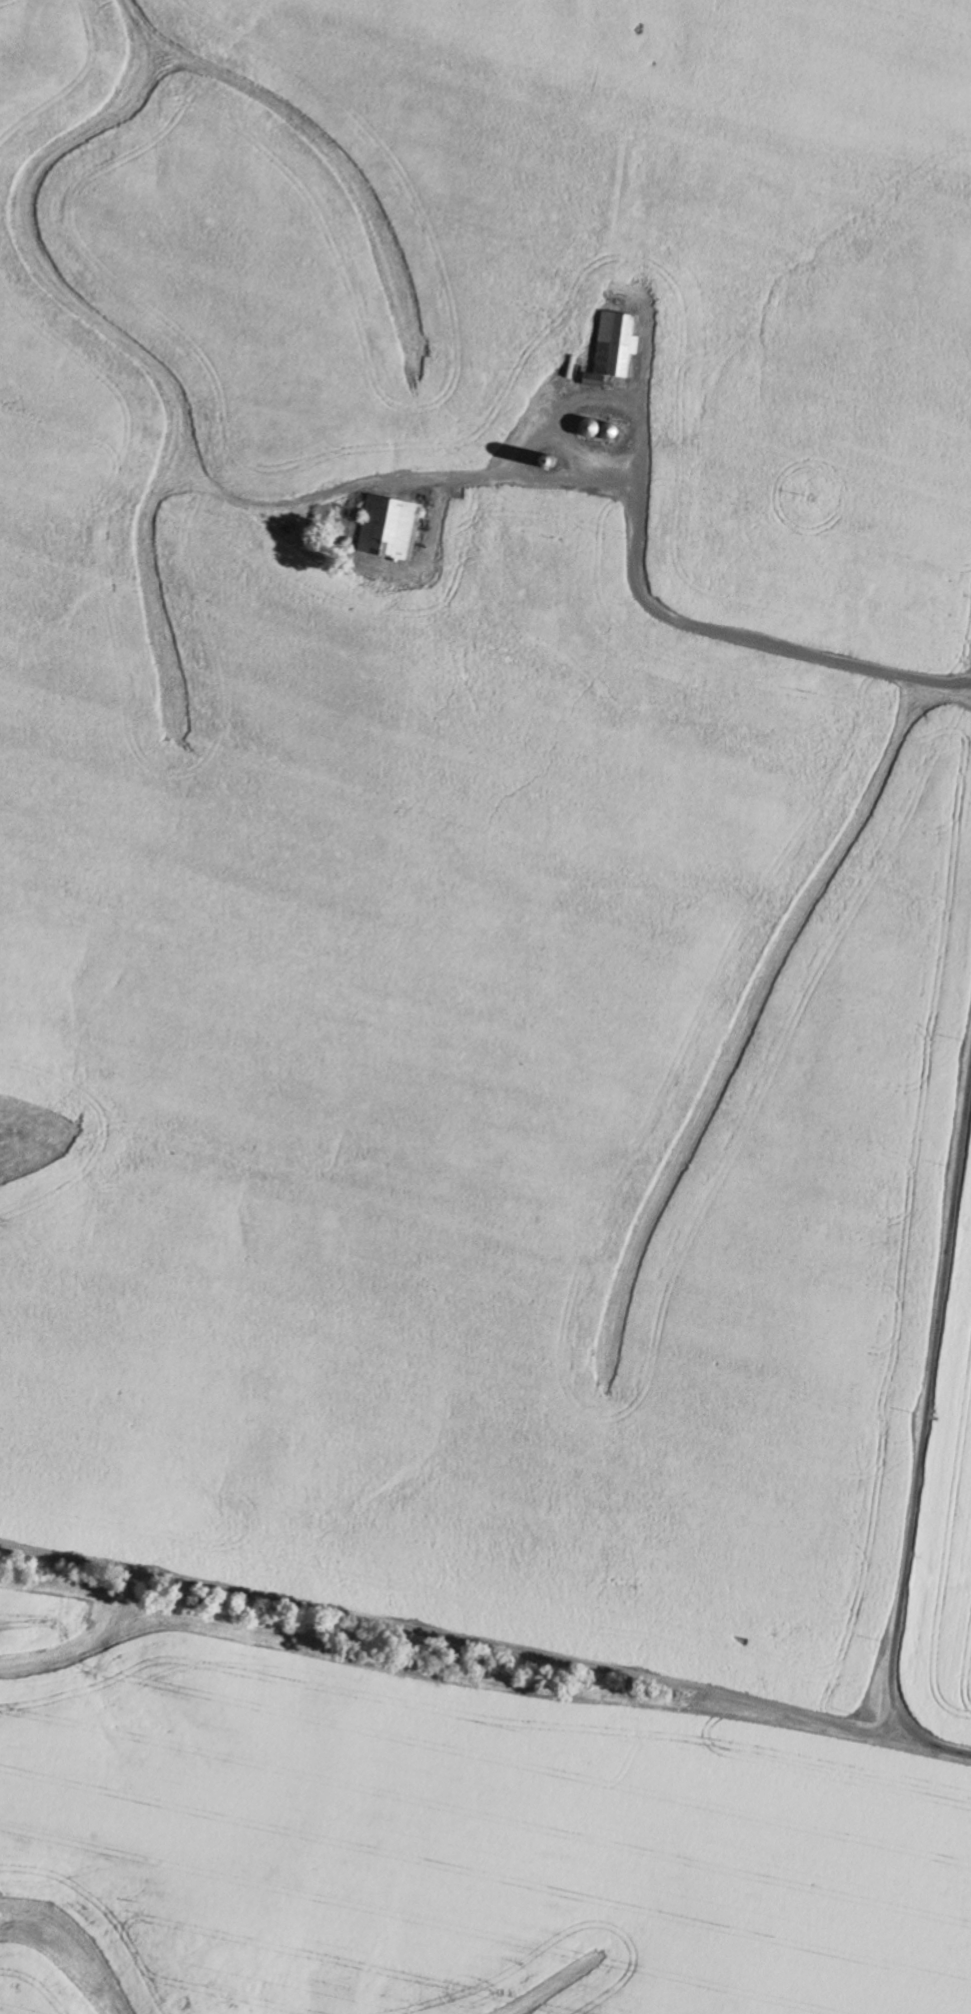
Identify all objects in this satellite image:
building: (616, 347)
building: (594, 427)
building: (392, 528)
road: (924, 1451)

